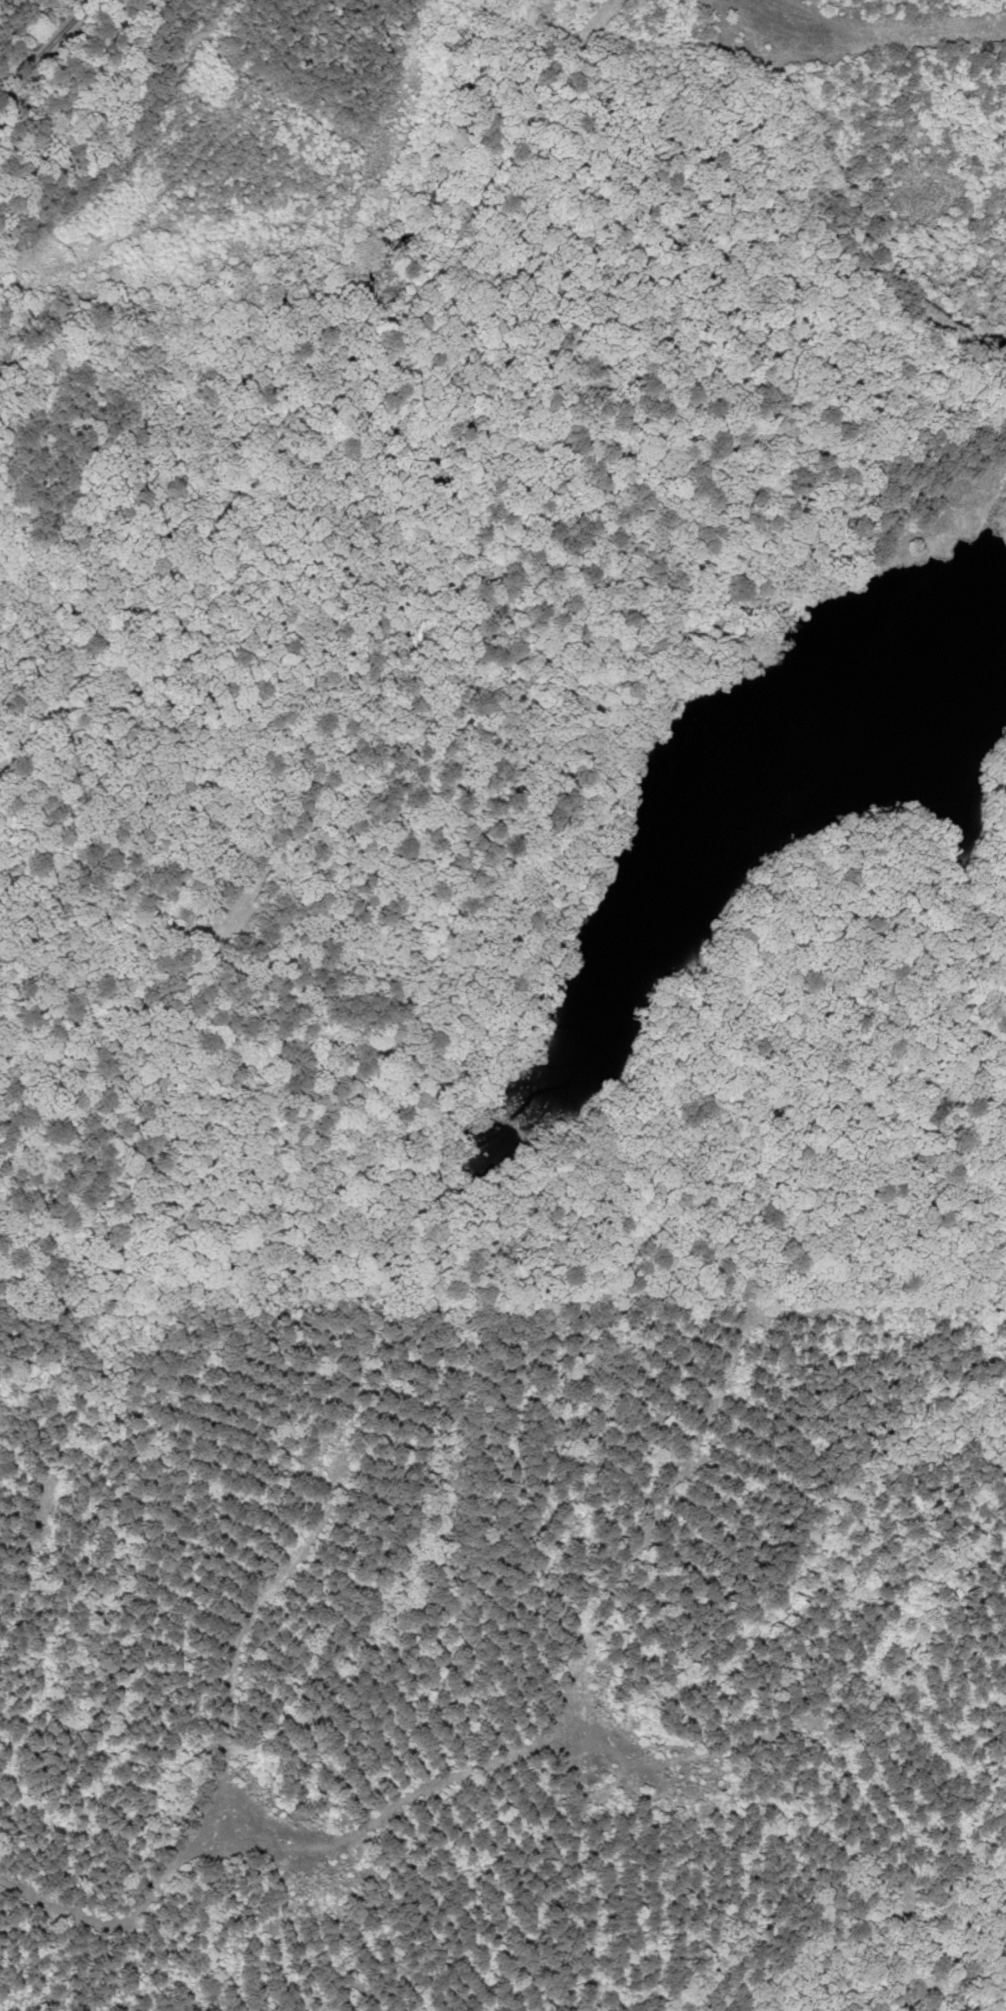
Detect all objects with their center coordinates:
railway: (34, 36)

